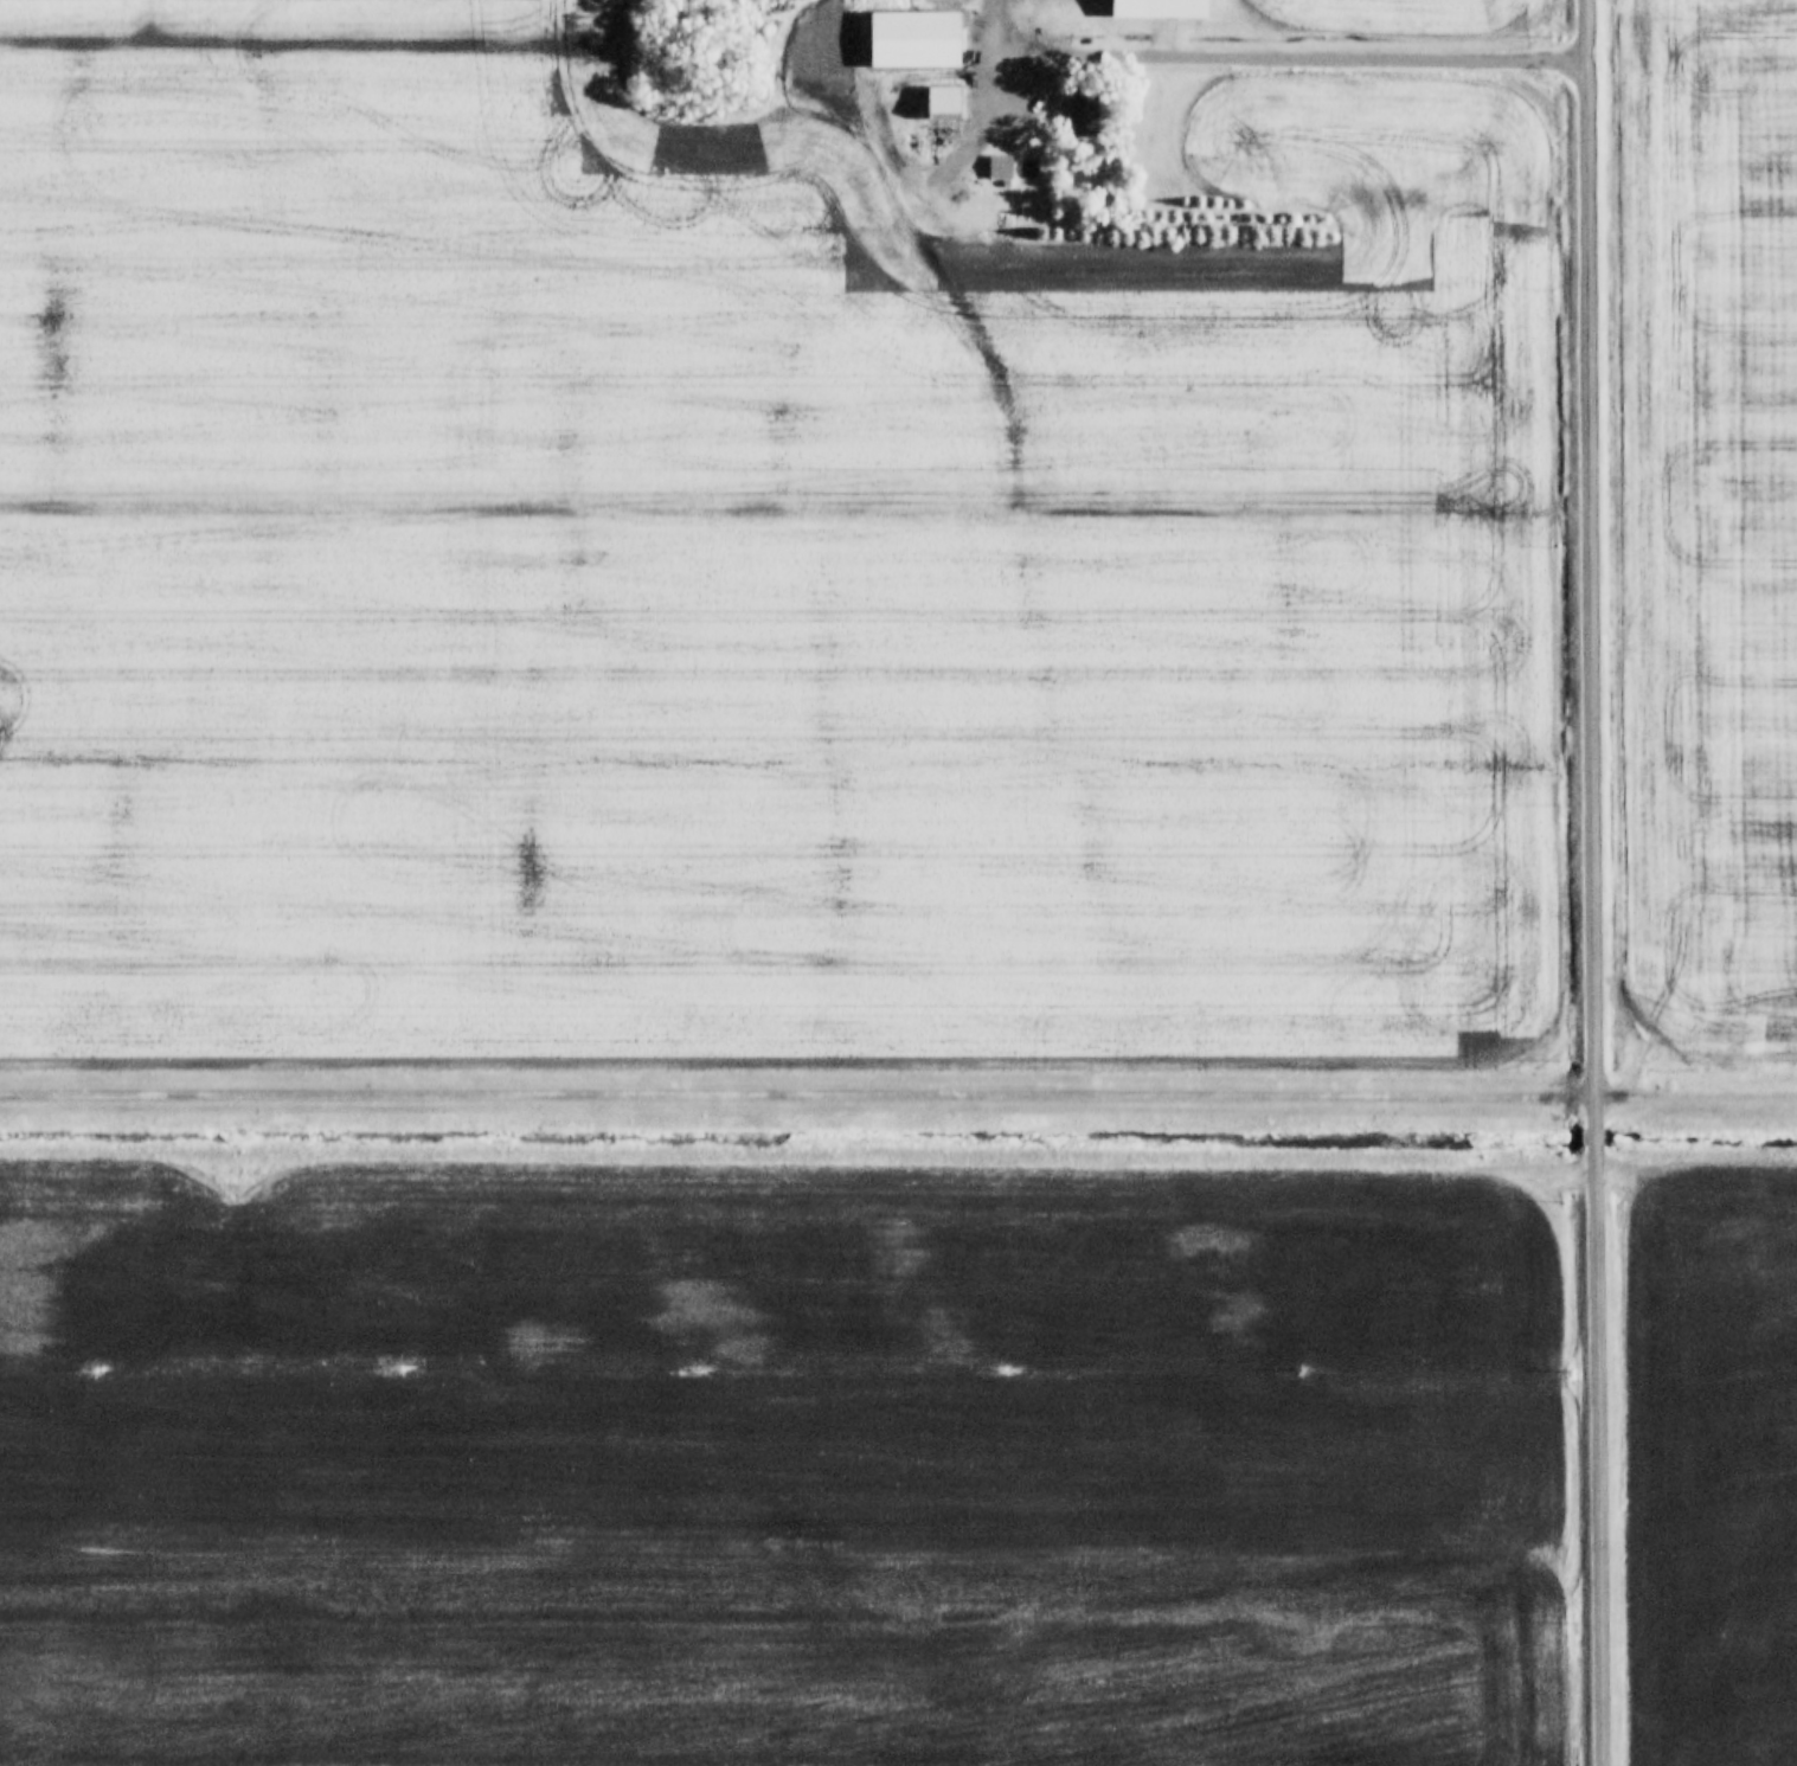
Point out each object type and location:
building: (1163, 8)
road: (994, 32)
building: (923, 41)
road: (1307, 51)
building: (948, 98)
crop: (317, 116)
road: (909, 162)
crop: (1713, 512)
road: (1592, 560)
crop: (801, 634)
road: (898, 1096)
road: (1599, 1134)
road: (1602, 1456)
crop: (782, 1459)
crop: (1714, 1471)

